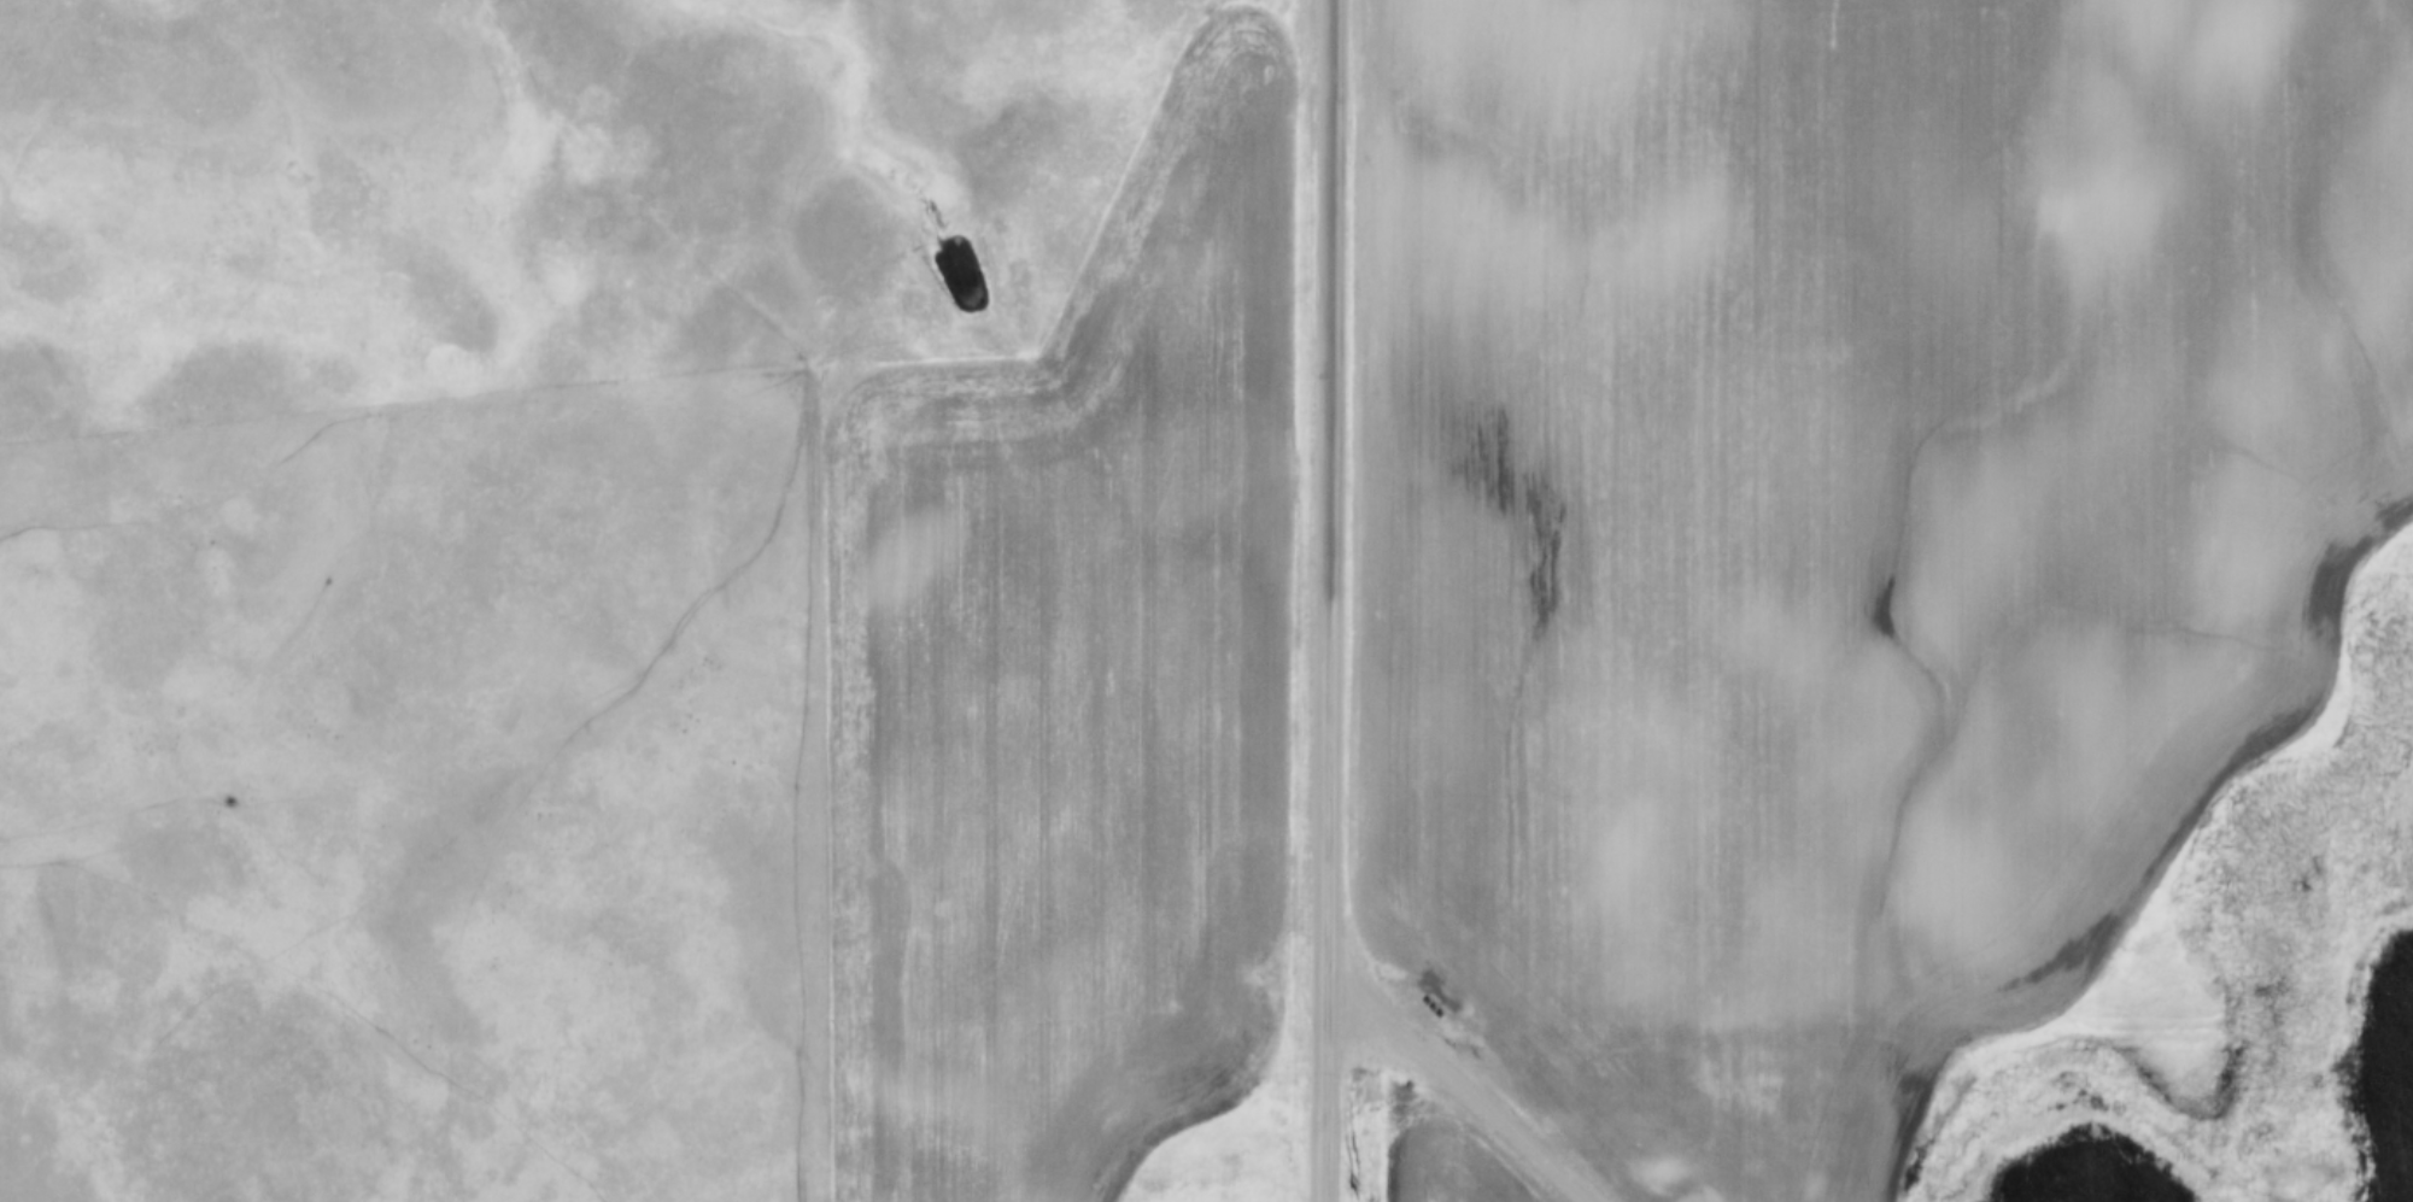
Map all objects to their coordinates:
road: (1331, 600)
road: (1609, 1039)

